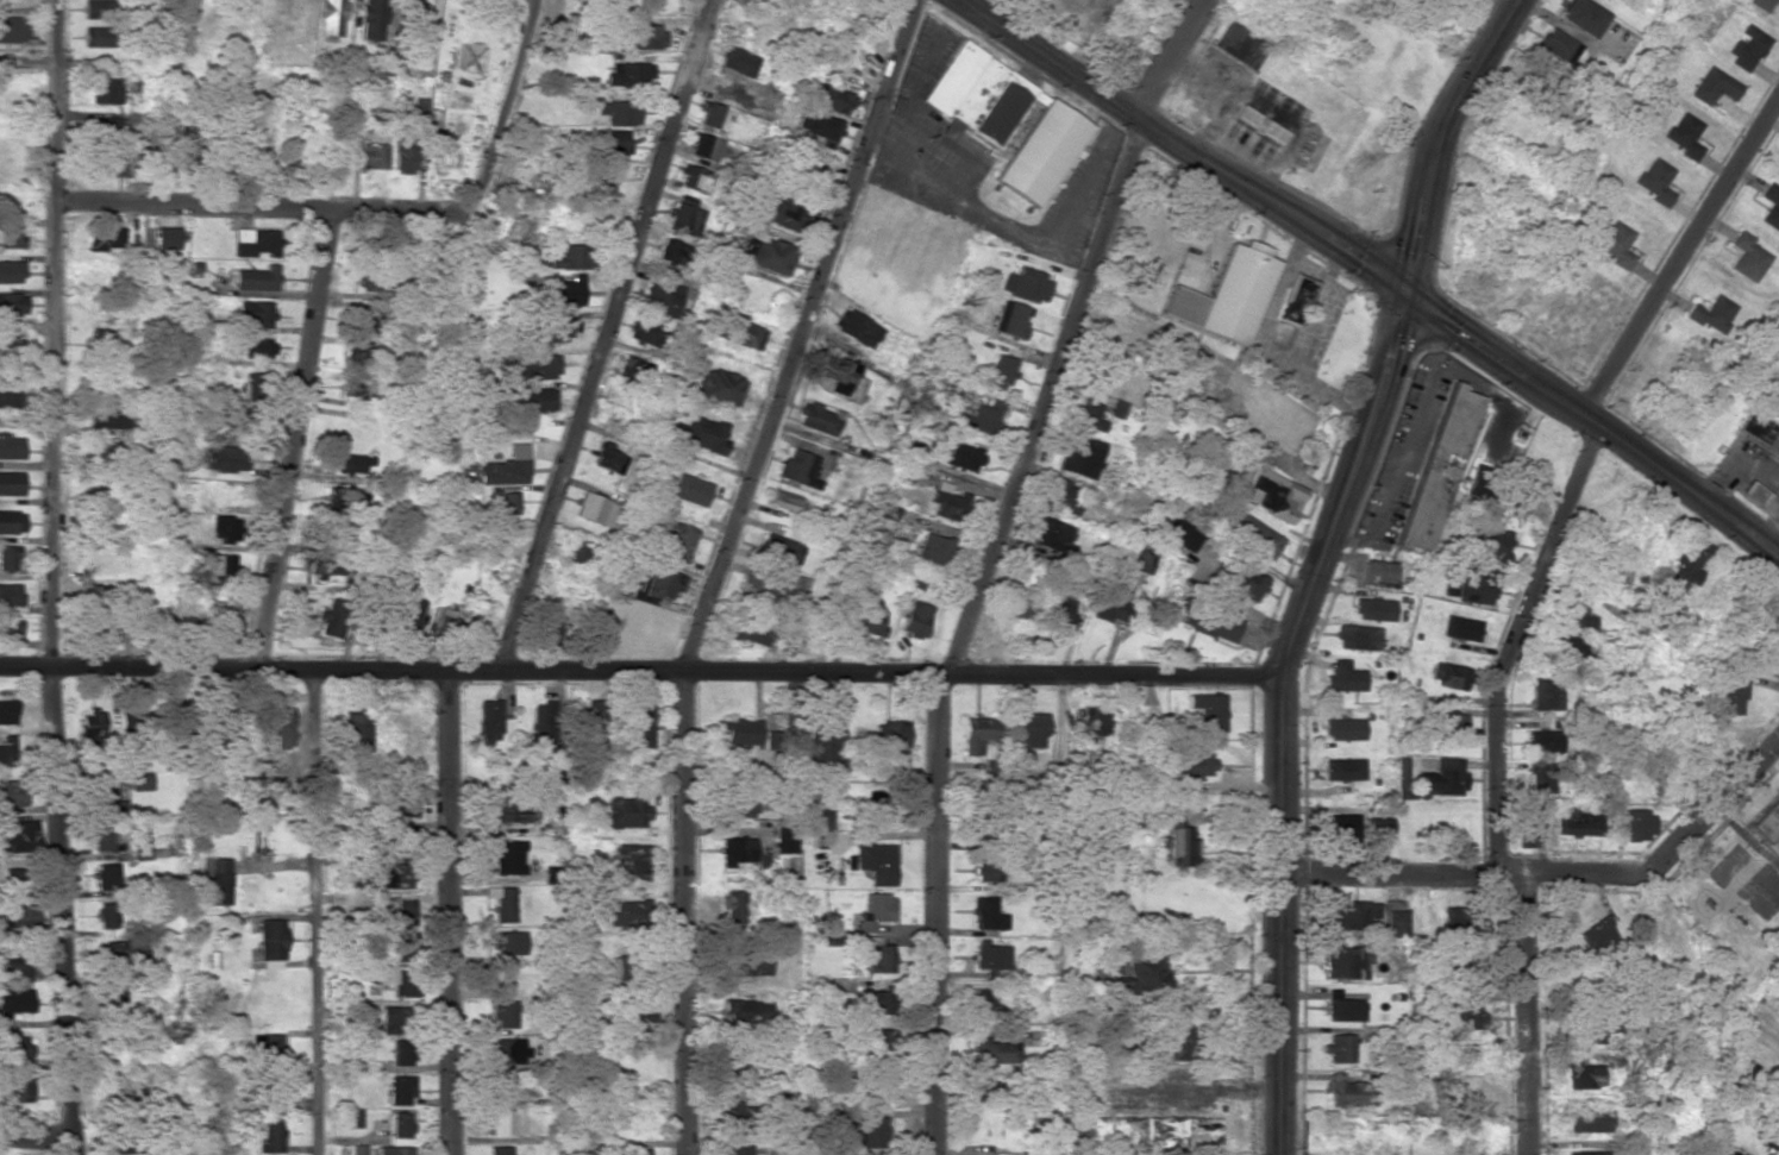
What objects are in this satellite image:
building: (1778, 0)
building: (1759, 4)
building: (96, 8)
building: (414, 12)
building: (331, 17)
building: (1581, 17)
building: (371, 19)
building: (12, 30)
building: (96, 37)
building: (1239, 45)
building: (1558, 45)
building: (1746, 46)
building: (735, 61)
road: (1177, 61)
road: (125, 68)
building: (625, 73)
building: (1533, 80)
building: (1712, 86)
building: (105, 90)
building: (975, 95)
building: (825, 96)
road: (501, 106)
building: (618, 112)
building: (708, 113)
building: (1259, 125)
building: (818, 127)
building: (107, 128)
building: (1683, 134)
road: (1439, 137)
building: (434, 140)
building: (608, 142)
building: (702, 146)
building: (1040, 151)
building: (403, 152)
building: (371, 156)
building: (107, 164)
building: (806, 170)
building: (693, 177)
building: (1653, 181)
road: (259, 206)
building: (1771, 206)
building: (782, 213)
building: (681, 218)
building: (11, 236)
building: (164, 238)
building: (104, 239)
building: (253, 243)
building: (1614, 244)
building: (668, 251)
road: (1679, 251)
building: (770, 256)
building: (1747, 256)
building: (568, 257)
building: (11, 271)
road: (1373, 271)
building: (255, 278)
building: (1029, 285)
building: (563, 291)
traffic signals: (1402, 291)
building: (1224, 295)
building: (660, 297)
building: (1295, 299)
building: (12, 305)
building: (253, 313)
building: (1710, 313)
building: (364, 319)
building: (1010, 319)
building: (552, 328)
building: (854, 328)
building: (644, 332)
building: (738, 333)
road: (605, 334)
building: (100, 339)
building: (11, 346)
building: (256, 347)
building: (356, 350)
building: (535, 365)
building: (631, 369)
building: (998, 371)
building: (835, 372)
building: (353, 384)
building: (715, 387)
building: (8, 395)
road: (1050, 397)
building: (532, 400)
building: (108, 415)
building: (1088, 415)
building: (816, 418)
building: (981, 418)
building: (228, 419)
building: (1759, 432)
building: (697, 434)
road: (294, 439)
building: (10, 447)
building: (963, 456)
building: (1079, 457)
building: (607, 458)
building: (221, 459)
building: (351, 463)
building: (505, 467)
building: (1434, 467)
building: (796, 469)
building: (1477, 481)
building: (10, 483)
building: (688, 489)
building: (105, 490)
building: (1752, 492)
building: (1271, 494)
building: (1059, 496)
building: (342, 500)
building: (782, 500)
building: (947, 502)
building: (500, 503)
building: (594, 509)
building: (885, 510)
building: (11, 522)
building: (226, 529)
building: (1051, 535)
building: (1178, 535)
building: (1252, 535)
building: (674, 540)
building: (1489, 545)
building: (779, 550)
building: (932, 550)
building: (581, 553)
building: (7, 557)
building: (1685, 563)
road: (716, 565)
building: (218, 566)
building: (324, 567)
building: (1377, 573)
road: (51, 577)
building: (1242, 580)
building: (1477, 588)
building: (764, 592)
building: (1114, 592)
building: (10, 595)
building: (1021, 607)
building: (1058, 609)
building: (1373, 609)
building: (1573, 611)
building: (223, 619)
building: (332, 619)
building: (409, 620)
building: (444, 620)
building: (867, 620)
building: (913, 620)
building: (1207, 621)
building: (551, 627)
building: (782, 627)
building: (10, 628)
building: (1459, 628)
building: (747, 630)
building: (1357, 636)
road: (1514, 641)
building: (1564, 646)
road: (643, 670)
building: (1448, 674)
building: (1343, 676)
building: (1543, 692)
building: (1730, 697)
building: (6, 710)
building: (293, 710)
building: (1207, 714)
road: (1285, 714)
building: (488, 720)
building: (126, 721)
building: (595, 721)
building: (635, 723)
building: (1442, 724)
building: (543, 726)
building: (1091, 726)
building: (90, 727)
building: (1342, 728)
building: (1032, 730)
building: (356, 732)
building: (739, 732)
building: (772, 734)
building: (889, 734)
building: (977, 734)
building: (1540, 741)
building: (821, 746)
building: (5, 754)
building: (1195, 764)
building: (1342, 768)
building: (1618, 770)
building: (1540, 776)
building: (1402, 777)
building: (1441, 778)
building: (1649, 778)
building: (139, 780)
building: (11, 793)
building: (102, 798)
building: (740, 805)
building: (510, 810)
building: (625, 812)
building: (1528, 818)
building: (818, 820)
building: (1767, 822)
building: (1574, 823)
building: (1634, 823)
building: (1376, 826)
building: (1340, 830)
building: (100, 837)
building: (784, 839)
building: (13, 840)
building: (1178, 845)
building: (734, 850)
building: (507, 858)
building: (629, 861)
building: (984, 861)
building: (876, 862)
road: (1558, 871)
building: (105, 877)
building: (399, 878)
building: (218, 879)
building: (11, 883)
building: (501, 903)
building: (733, 910)
road: (315, 911)
building: (873, 911)
building: (401, 912)
road: (446, 912)
building: (626, 912)
road: (934, 914)
building: (986, 914)
building: (1347, 914)
building: (106, 915)
building: (18, 916)
building: (1392, 923)
building: (1597, 934)
building: (270, 943)
building: (505, 943)
building: (400, 948)
building: (120, 953)
building: (990, 955)
building: (1343, 962)
building: (14, 965)
building: (745, 965)
building: (619, 967)
building: (1139, 974)
building: (394, 979)
building: (115, 1000)
building: (13, 1002)
building: (872, 1002)
building: (983, 1004)
building: (1343, 1006)
building: (745, 1010)
building: (502, 1013)
road: (1527, 1013)
building: (1462, 1016)
building: (391, 1019)
building: (872, 1037)
building: (1172, 1040)
building: (14, 1046)
building: (1338, 1048)
building: (267, 1049)
building: (505, 1050)
building: (401, 1052)
building: (995, 1052)
building: (733, 1068)
building: (1086, 1072)
building: (1586, 1074)
building: (500, 1086)
building: (14, 1090)
building: (400, 1090)
building: (269, 1091)
building: (1462, 1091)
building: (1343, 1092)
building: (124, 1093)
building: (733, 1116)
building: (1589, 1119)
building: (505, 1122)
building: (400, 1124)
building: (1109, 1130)
building: (870, 1131)
building: (1179, 1131)
road: (35, 1136)
building: (270, 1136)
building: (1775, 1144)
building: (358, 1149)
building: (737, 1149)
building: (391, 1150)
building: (497, 1150)
building: (635, 1153)
building: (1591, 1153)
building: (1723, 1153)
building: (998, 1154)

